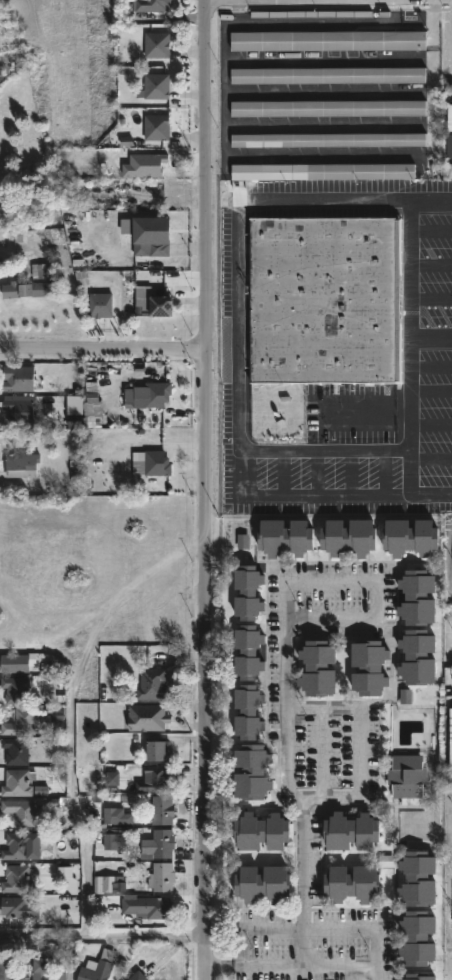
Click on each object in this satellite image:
building: (151, 4)
road: (433, 9)
building: (157, 44)
building: (333, 45)
building: (333, 79)
building: (156, 85)
road: (328, 92)
building: (335, 113)
building: (156, 126)
building: (447, 134)
building: (336, 145)
road: (225, 153)
building: (328, 176)
building: (149, 231)
road: (409, 268)
building: (30, 283)
building: (326, 301)
building: (100, 304)
building: (161, 305)
road: (104, 352)
building: (18, 378)
road: (239, 380)
building: (157, 393)
building: (64, 402)
building: (19, 408)
building: (157, 463)
building: (22, 465)
road: (409, 485)
road: (207, 489)
road: (304, 495)
building: (285, 534)
building: (349, 534)
building: (410, 534)
road: (449, 558)
building: (248, 593)
building: (418, 598)
building: (249, 652)
building: (418, 658)
building: (14, 663)
building: (369, 668)
building: (318, 669)
building: (152, 684)
building: (16, 688)
road: (284, 701)
building: (248, 713)
building: (147, 717)
building: (20, 722)
road: (356, 743)
building: (16, 750)
building: (155, 752)
road: (69, 762)
building: (252, 771)
building: (407, 775)
building: (155, 780)
building: (17, 784)
building: (162, 810)
building: (20, 811)
building: (262, 830)
building: (352, 830)
building: (162, 842)
building: (16, 845)
building: (161, 876)
building: (17, 877)
building: (419, 877)
building: (353, 881)
building: (263, 882)
building: (148, 905)
building: (19, 907)
road: (362, 929)
road: (255, 930)
road: (103, 935)
building: (418, 936)
road: (220, 966)
road: (338, 966)
building: (97, 967)
building: (8, 970)
building: (46, 970)
building: (137, 975)
building: (420, 976)

